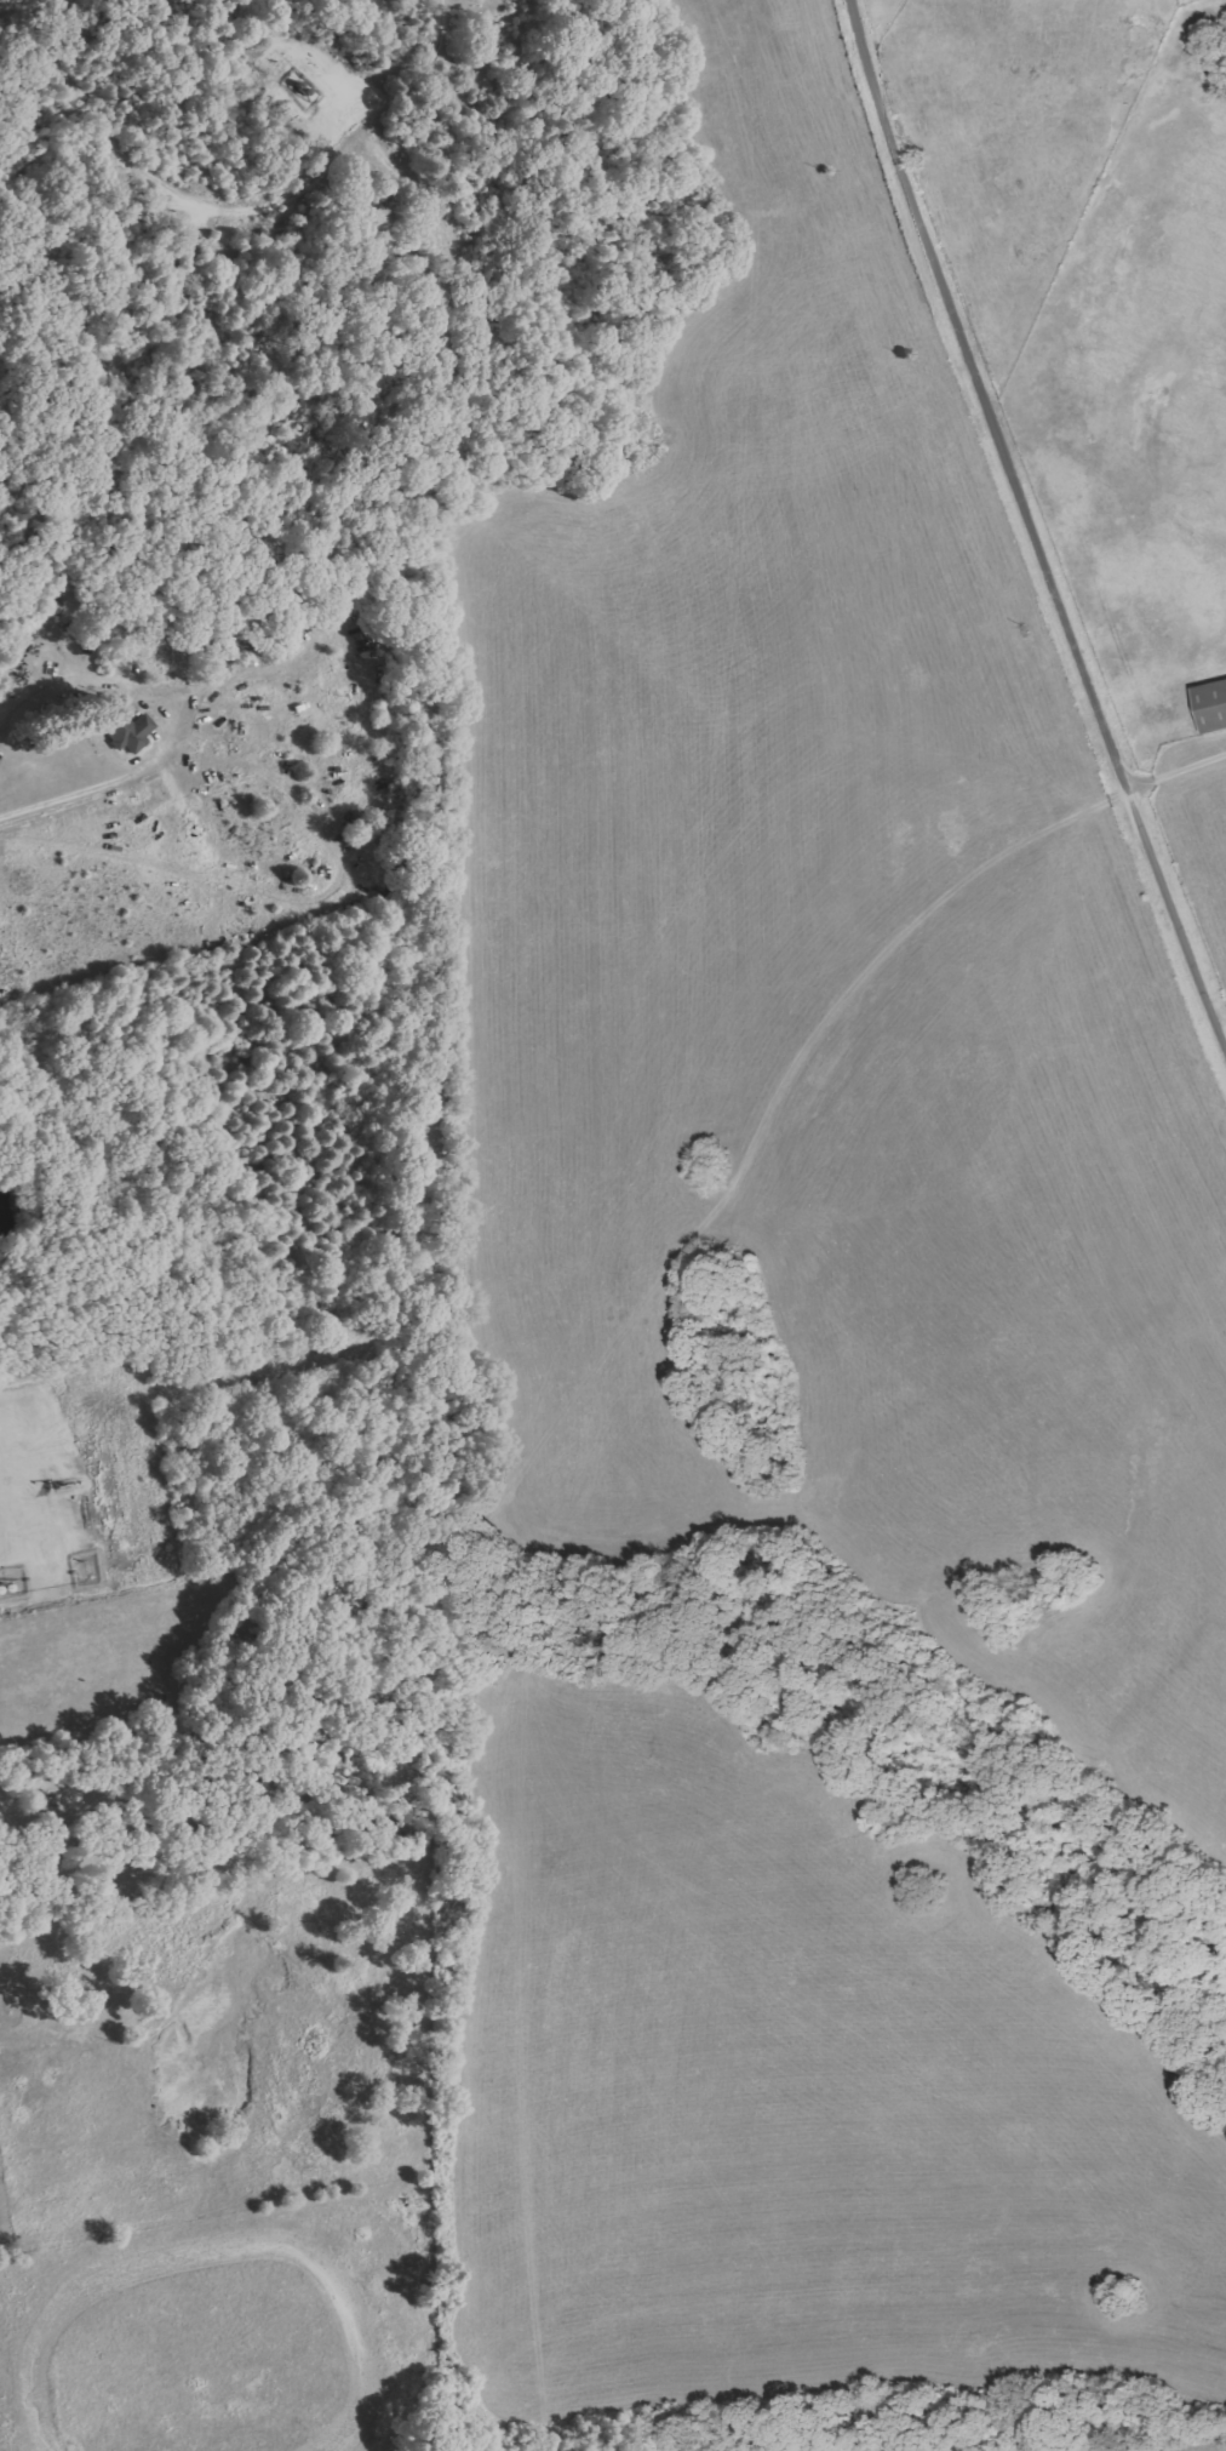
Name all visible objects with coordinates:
road: (1031, 530)
building: (1213, 705)
building: (126, 729)

